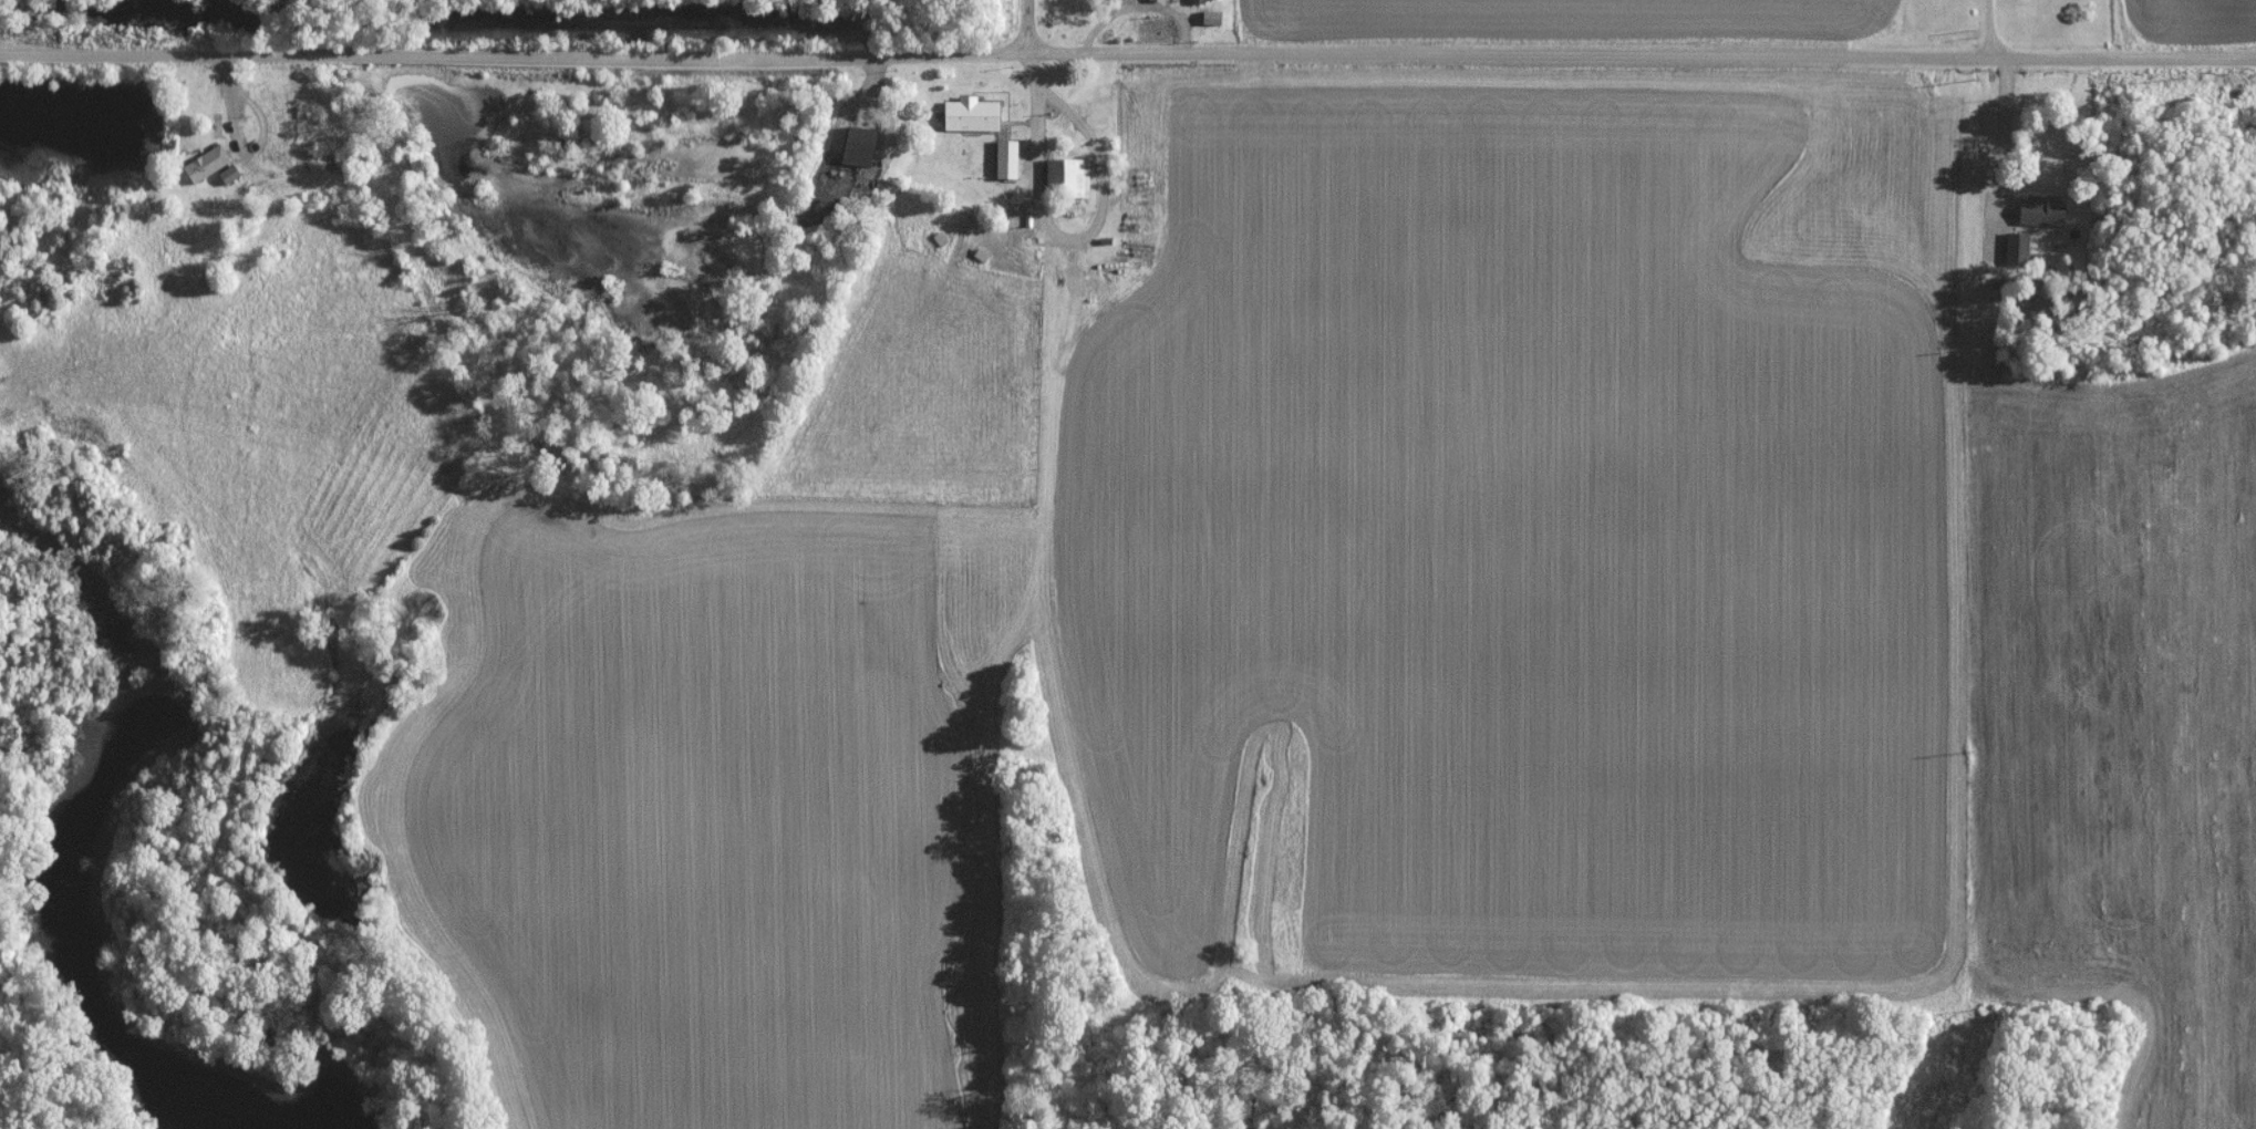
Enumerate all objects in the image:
building: (1196, 1)
building: (1208, 17)
road: (1024, 30)
road: (1993, 31)
road: (1128, 60)
building: (966, 114)
building: (855, 145)
building: (1003, 158)
building: (203, 163)
building: (226, 174)
building: (1065, 176)
building: (2038, 209)
road: (1064, 240)
building: (2014, 247)

